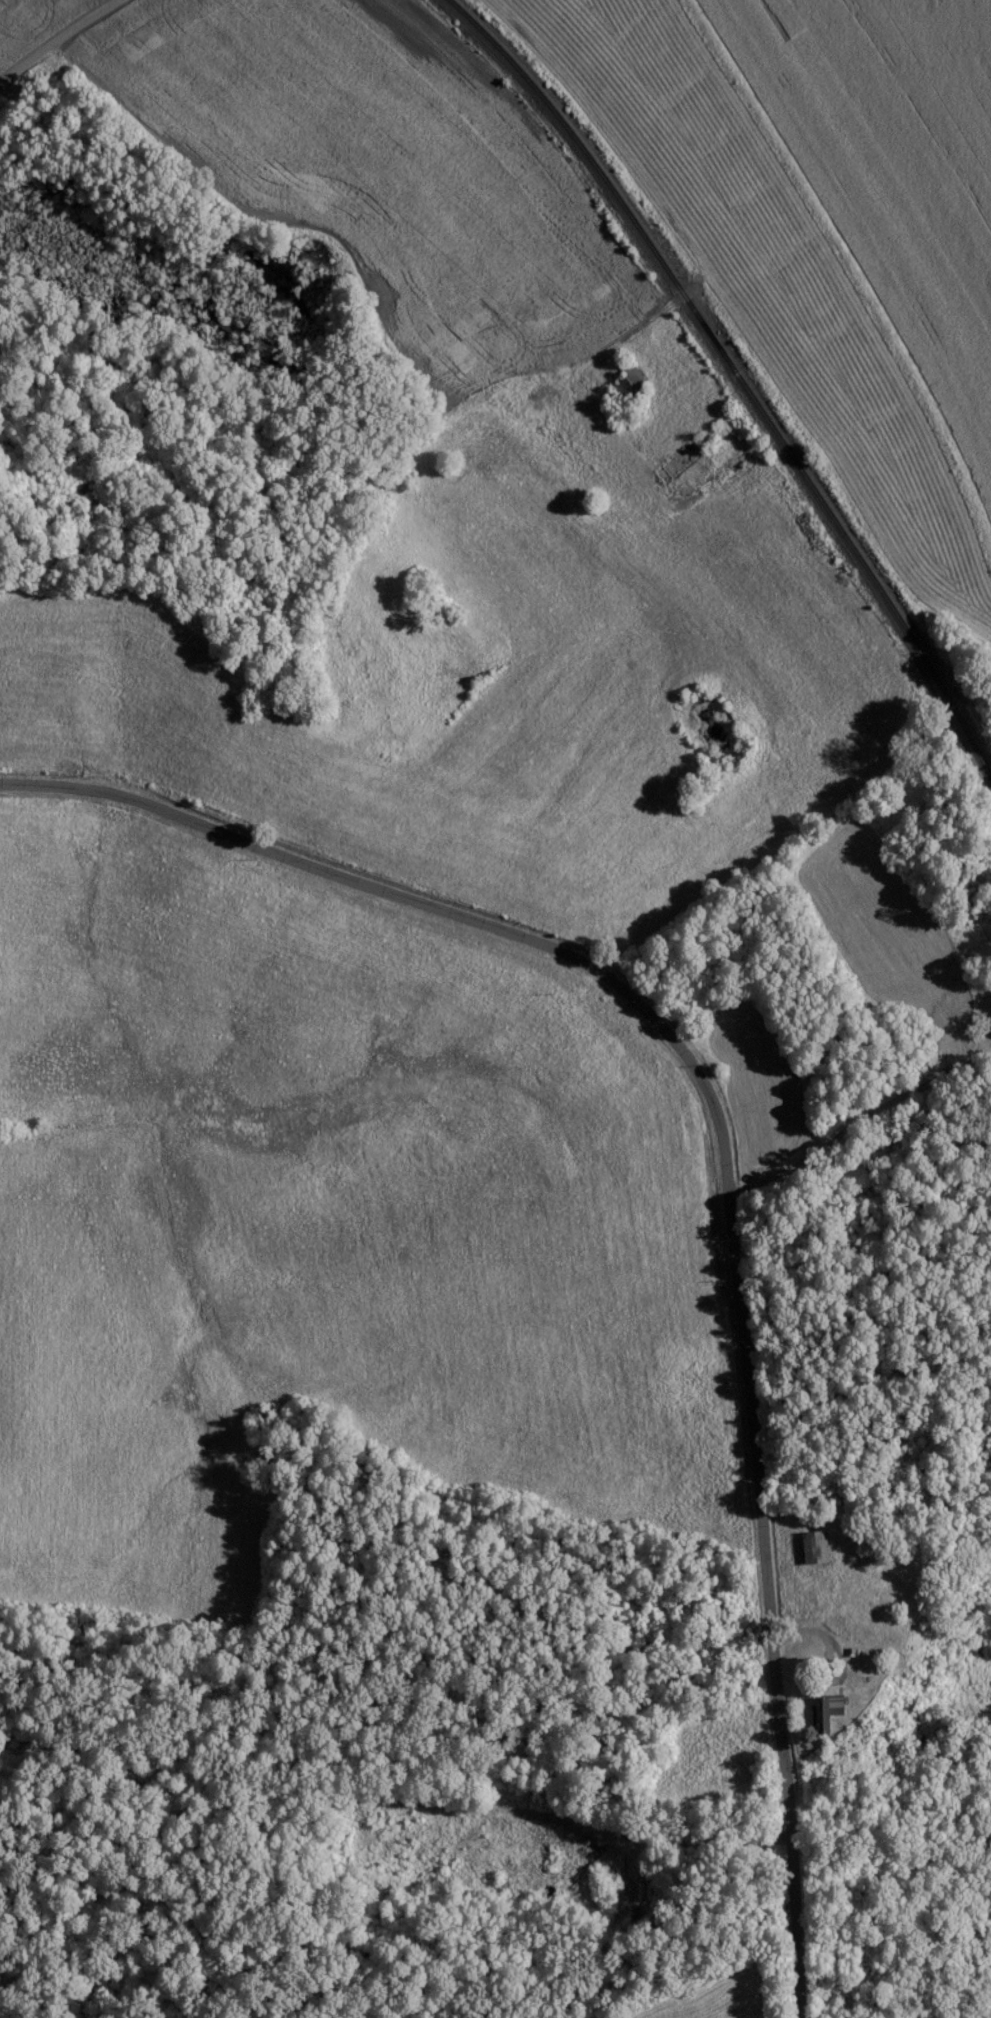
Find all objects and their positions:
road: (57, 40)
railway: (743, 387)
road: (571, 395)
park: (976, 1029)
road: (727, 1156)
building: (831, 1711)

